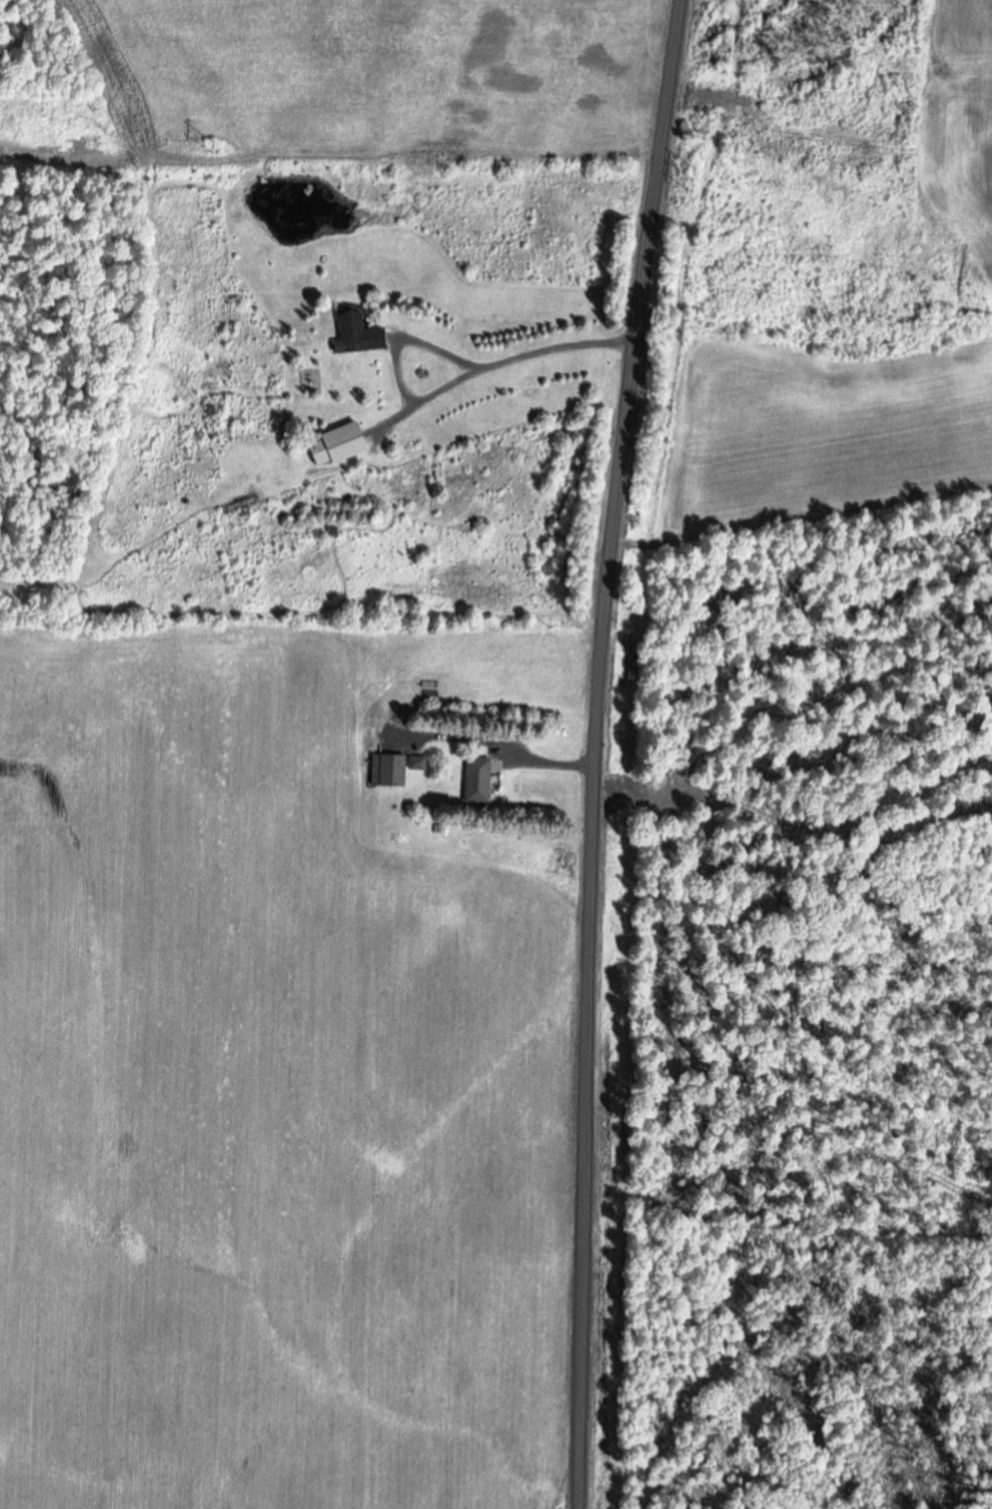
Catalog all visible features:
power tower: (216, 149)
power tower: (691, 188)
building: (356, 335)
road: (409, 340)
road: (496, 367)
building: (337, 445)
road: (492, 744)
road: (596, 751)
building: (416, 764)
building: (389, 772)
building: (475, 783)

